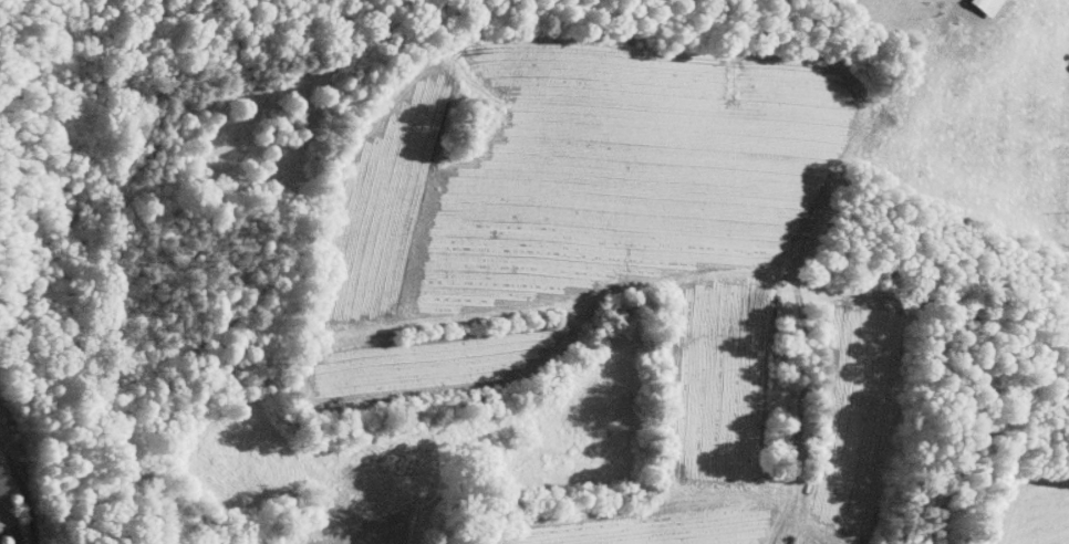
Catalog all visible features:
building: (974, 3)
road: (801, 415)
road: (9, 536)

